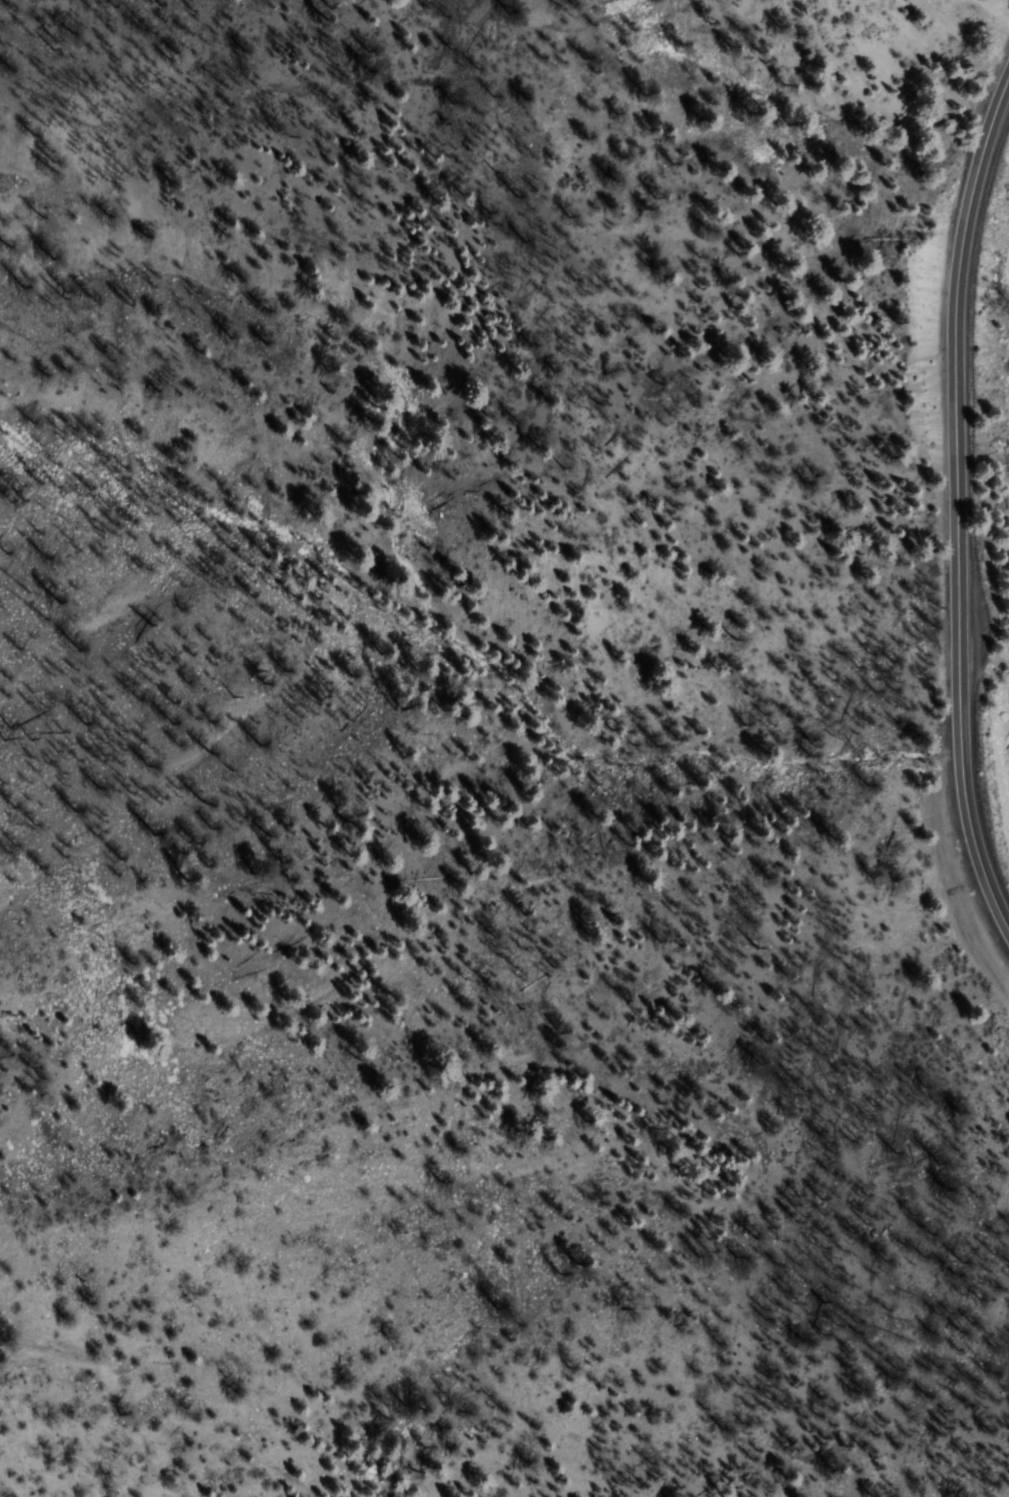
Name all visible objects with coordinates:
road: (954, 503)

